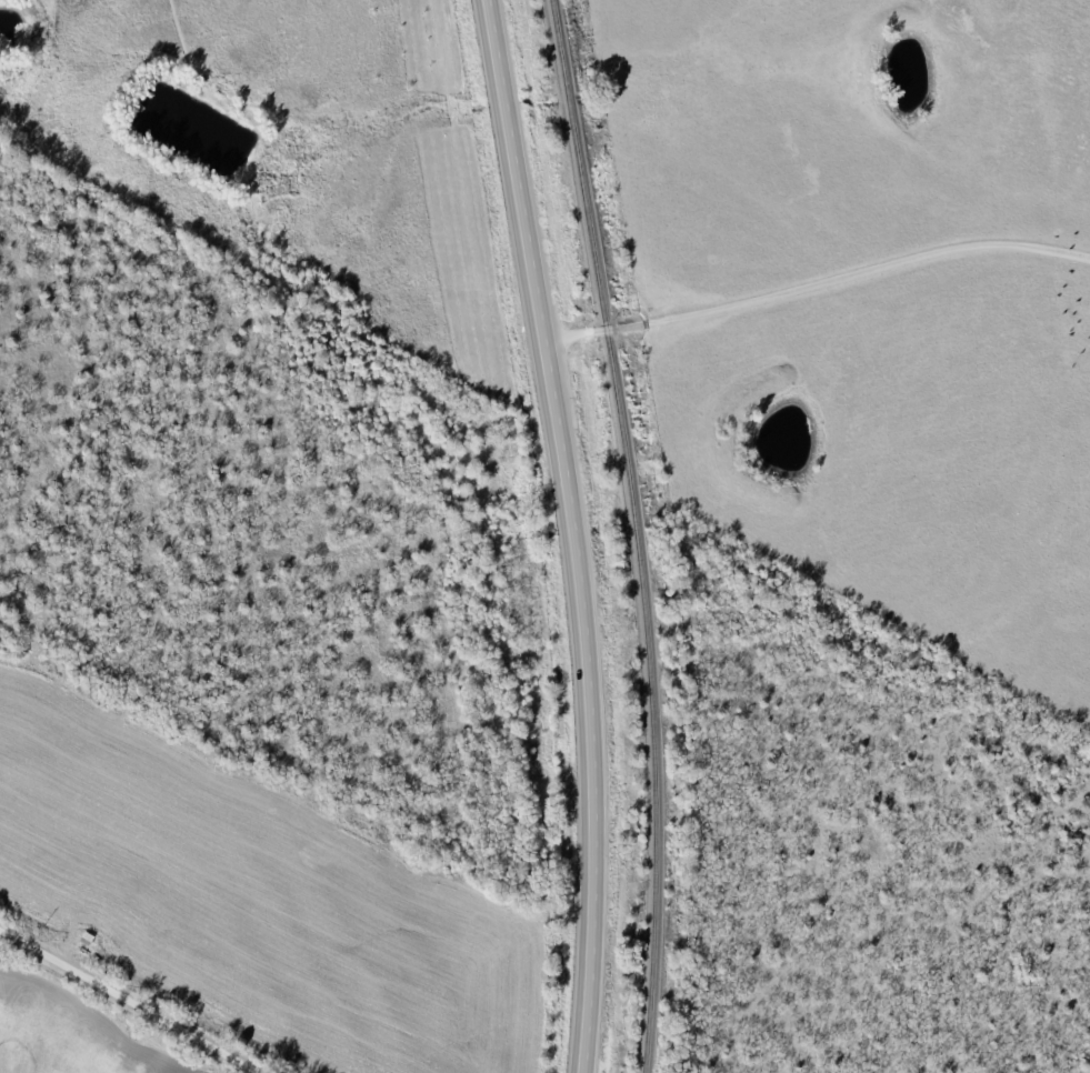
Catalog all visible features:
road: (818, 283)
road: (574, 533)
railway: (641, 533)
road: (129, 1000)

